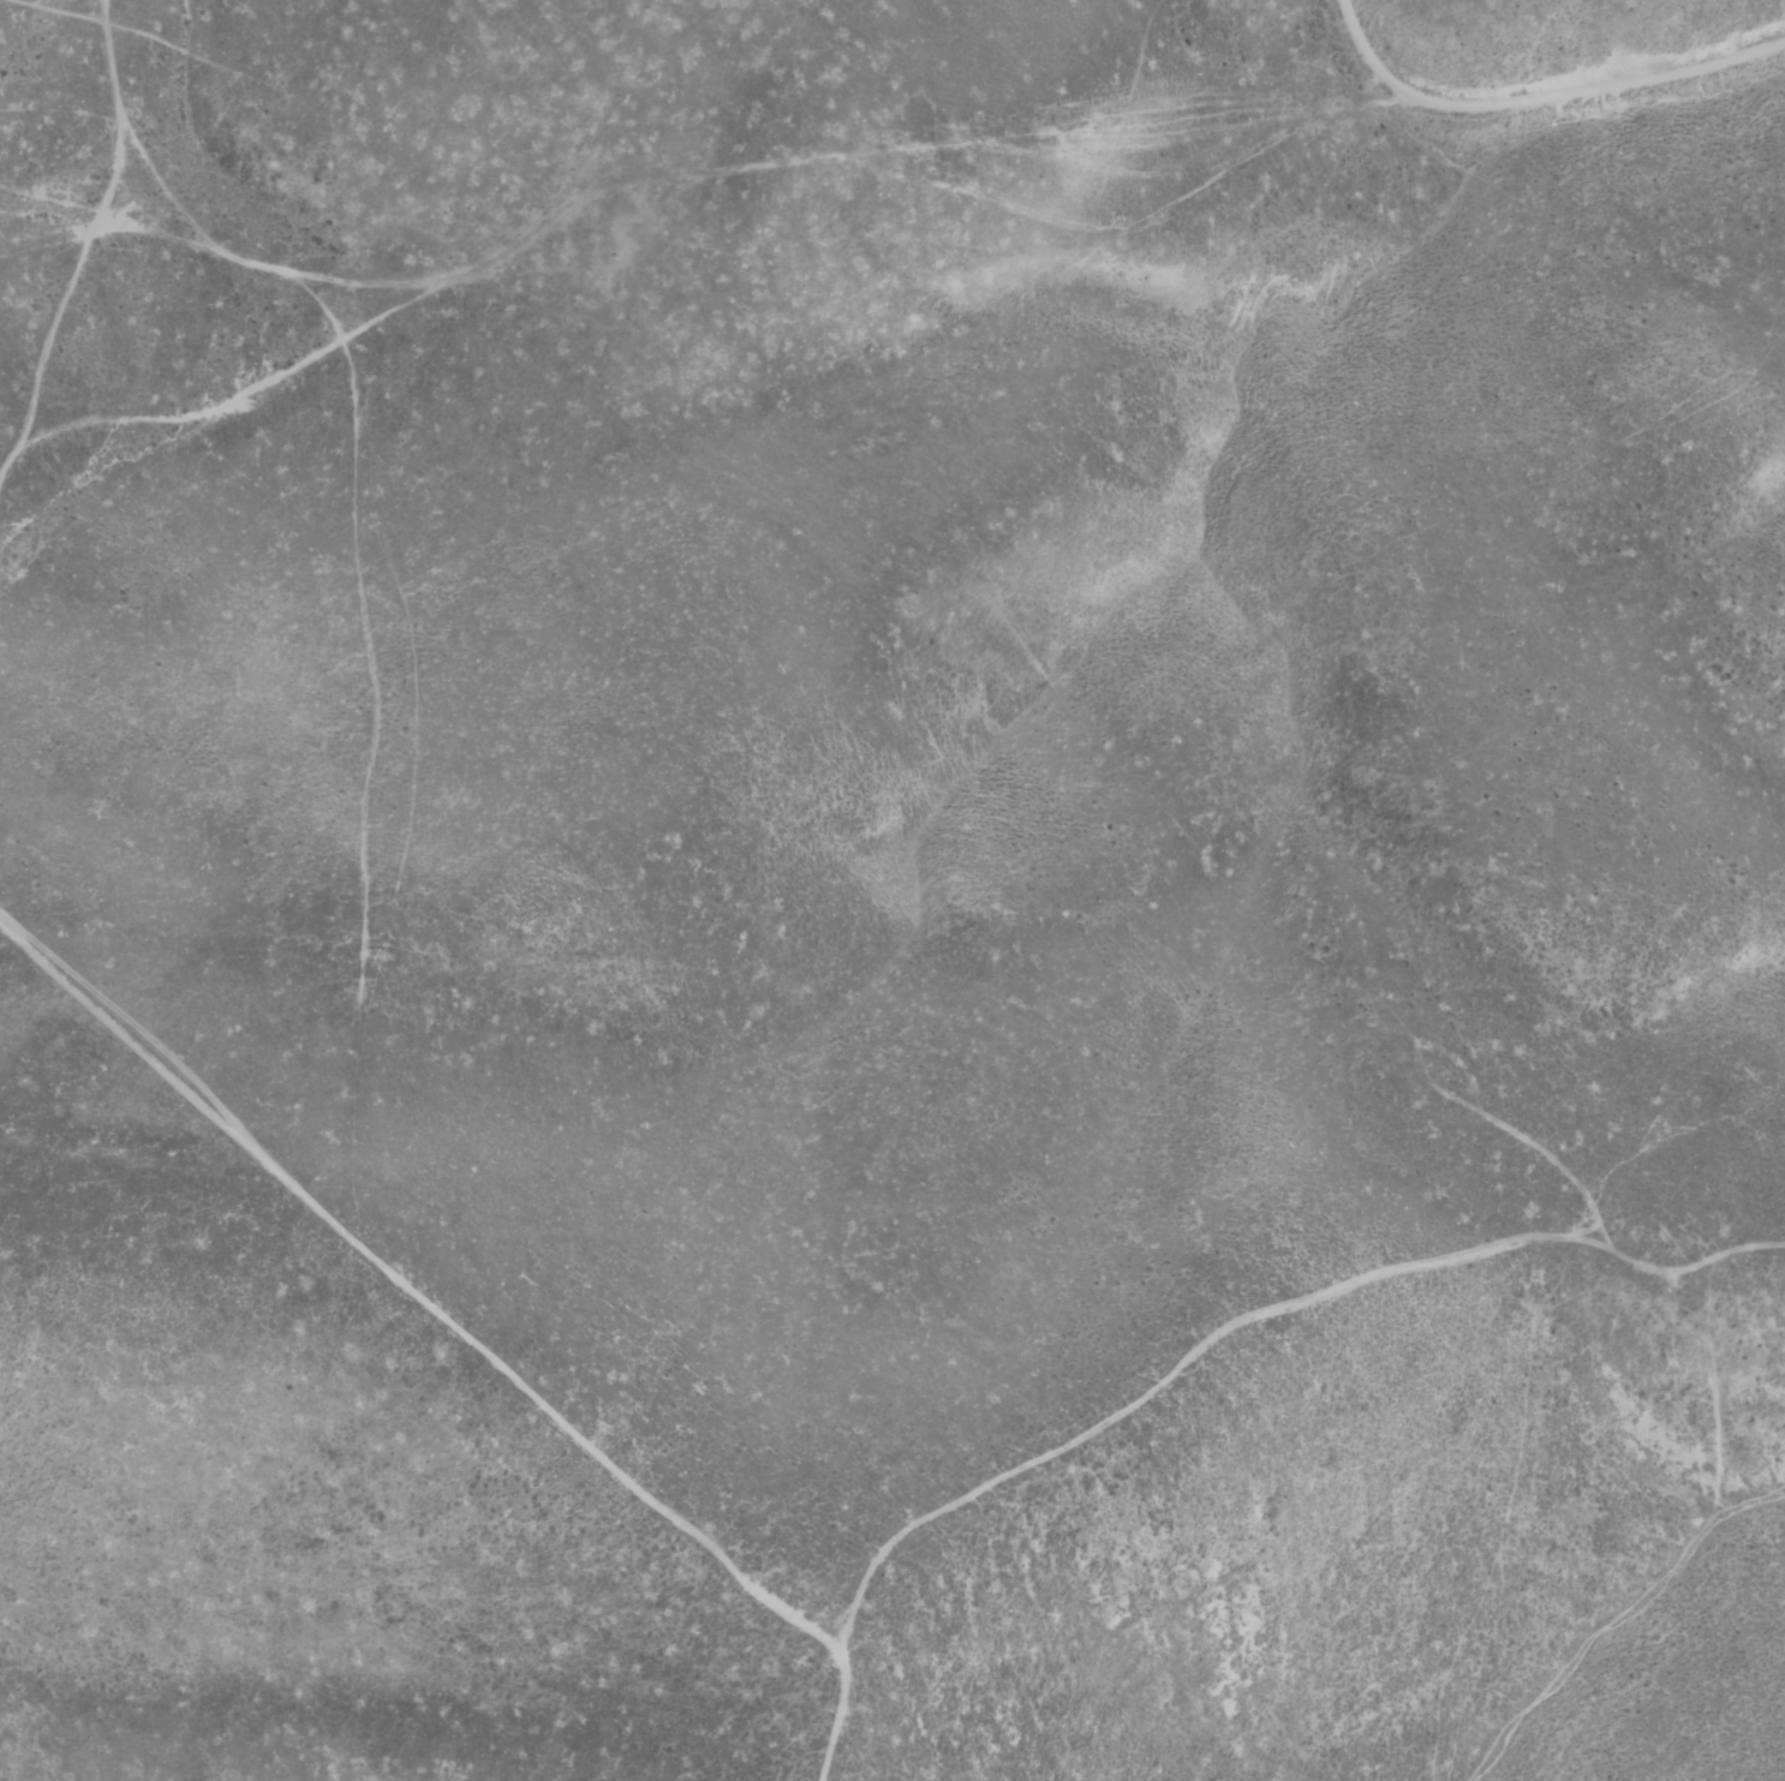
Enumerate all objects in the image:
road: (1541, 98)
road: (671, 174)
road: (159, 237)
road: (378, 285)
road: (72, 291)
road: (368, 569)
road: (1253, 1320)
road: (465, 1335)

